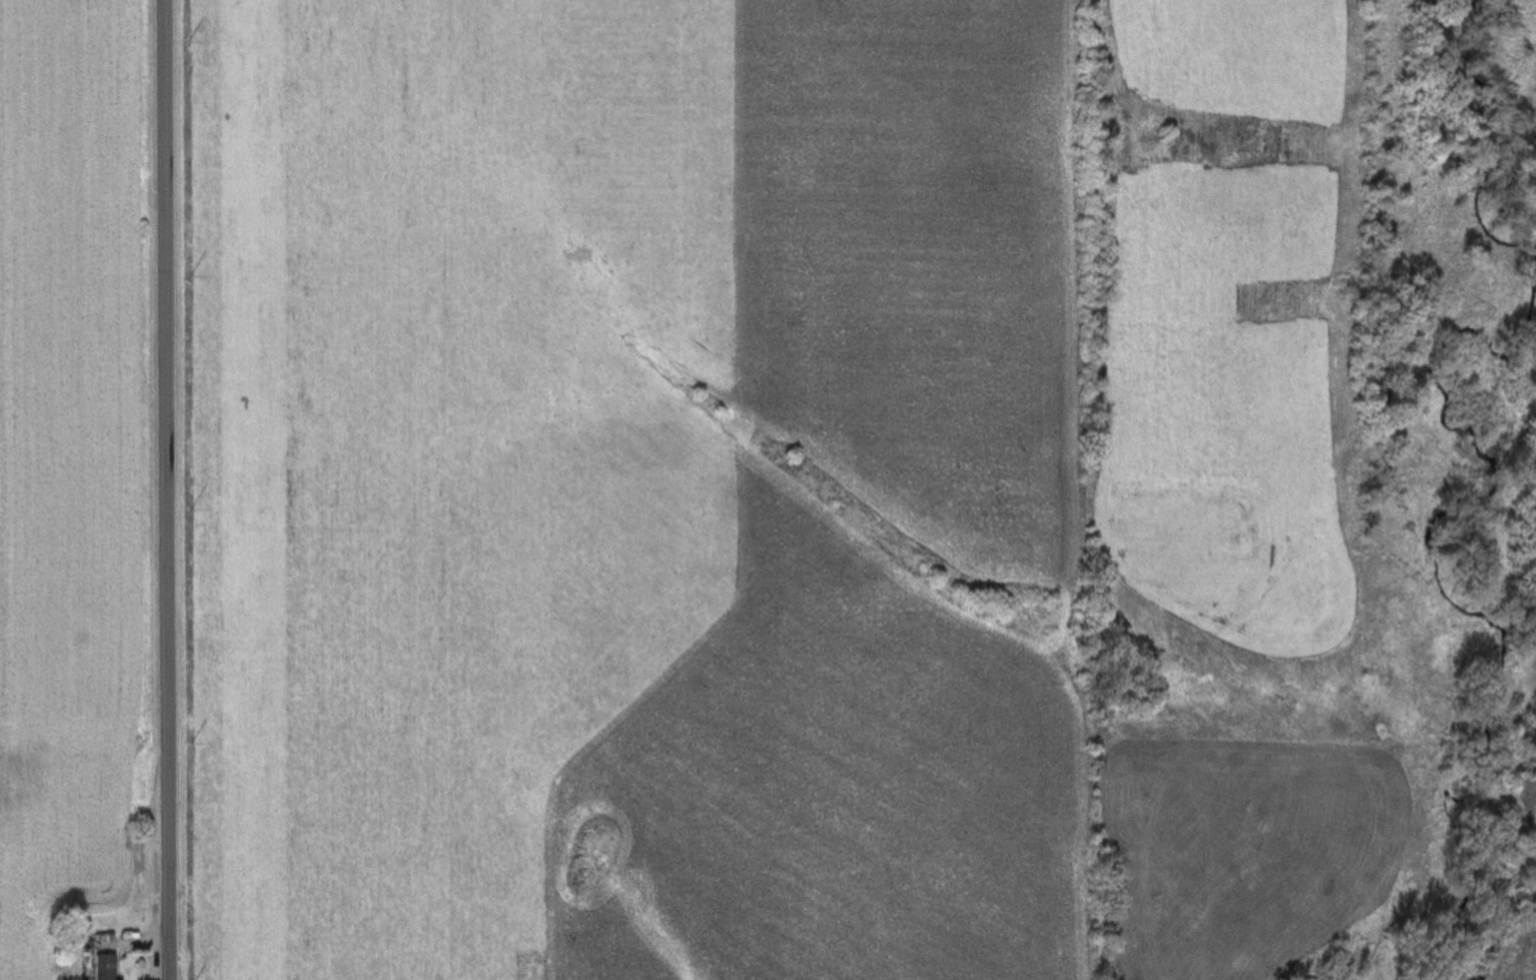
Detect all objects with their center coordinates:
road: (164, 490)
building: (99, 967)

